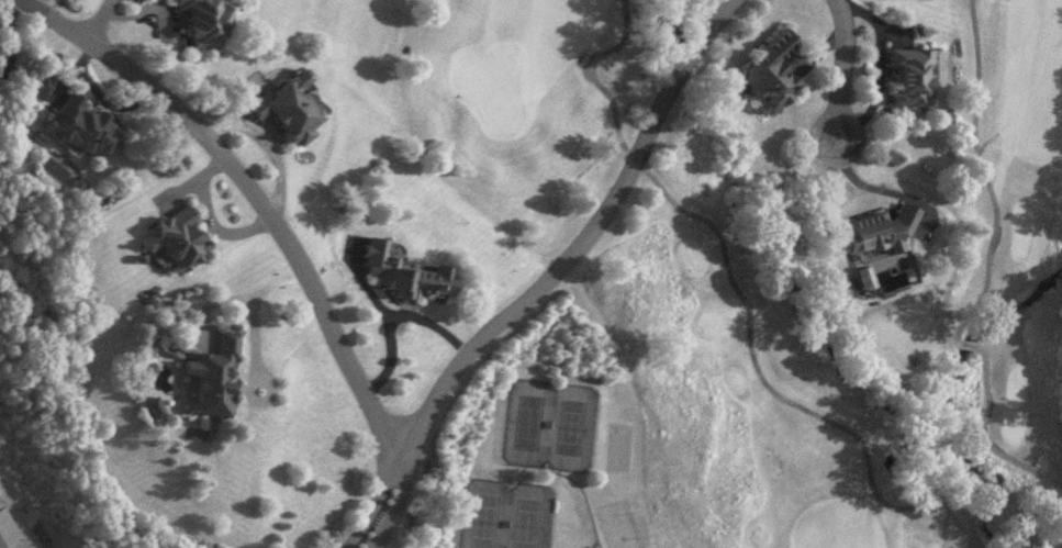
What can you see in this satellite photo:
road: (103, 21)
building: (198, 21)
road: (842, 66)
building: (770, 71)
building: (908, 75)
building: (286, 104)
building: (88, 127)
road: (982, 143)
road: (983, 174)
road: (863, 183)
road: (255, 194)
building: (876, 228)
road: (583, 236)
building: (179, 241)
building: (402, 269)
road: (242, 297)
road: (741, 298)
park: (729, 304)
building: (216, 377)
park: (550, 422)
road: (984, 435)
road: (377, 501)
road: (398, 504)
road: (21, 514)
park: (507, 514)
building: (9, 527)

